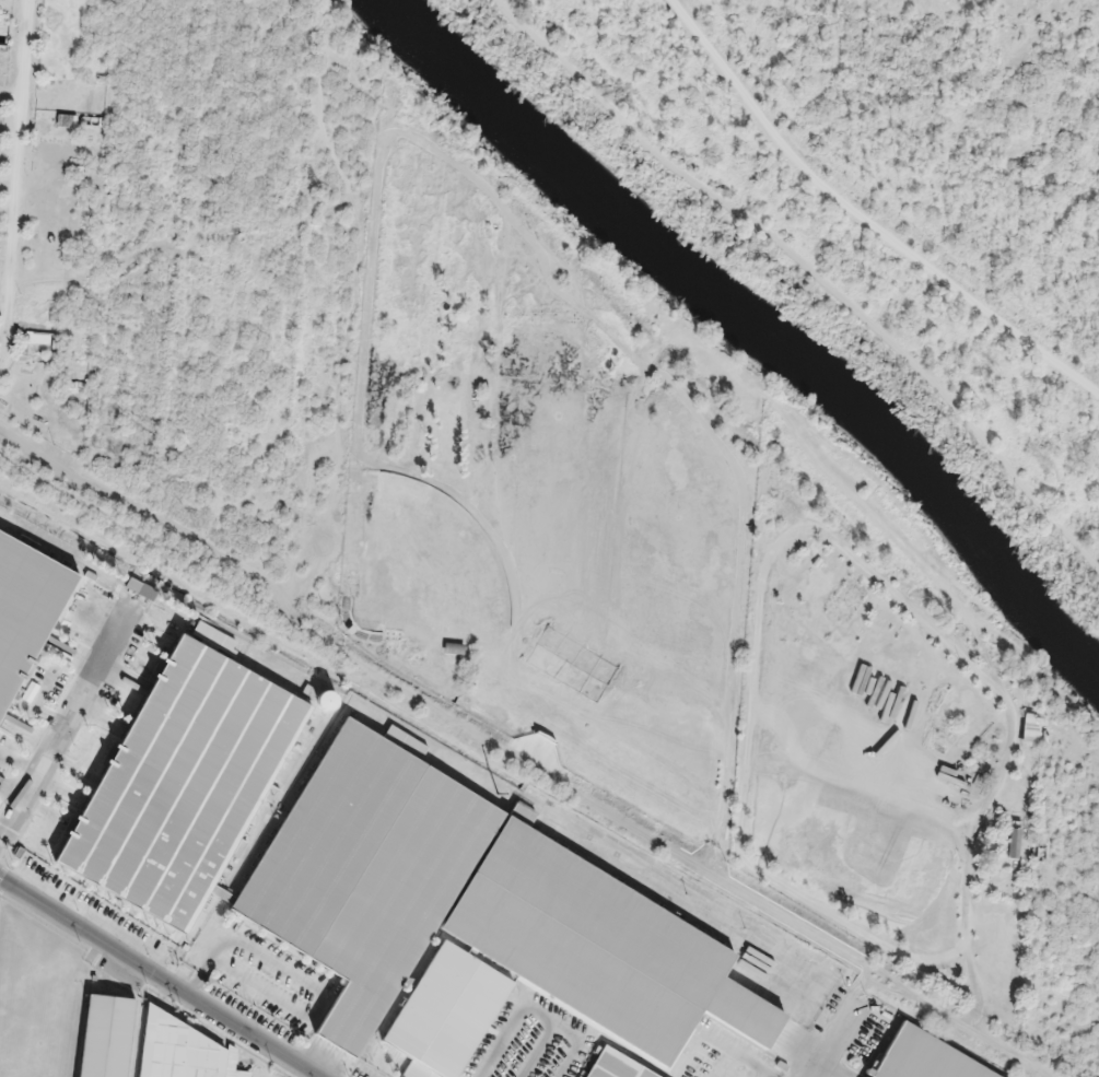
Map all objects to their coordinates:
road: (15, 185)
road: (861, 219)
road: (810, 269)
river: (757, 326)
building: (25, 608)
road: (67, 714)
road: (519, 759)
building: (185, 782)
building: (479, 920)
road: (154, 978)
road: (842, 1023)
building: (110, 1033)
building: (186, 1049)
building: (924, 1057)

